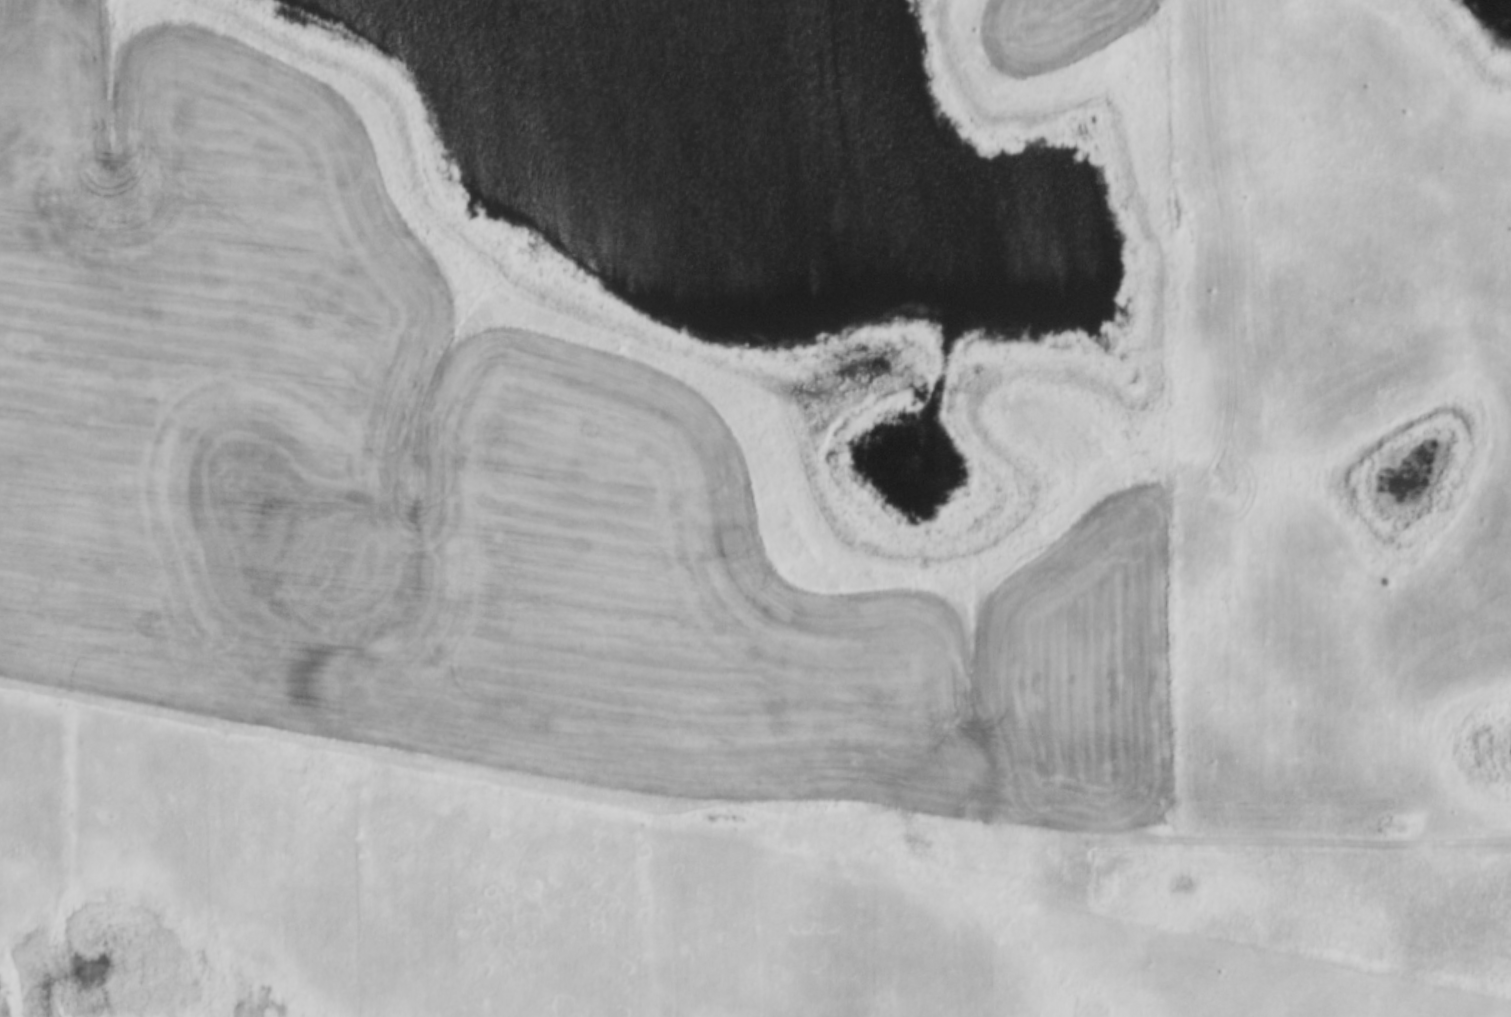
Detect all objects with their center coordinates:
road: (1113, 836)

